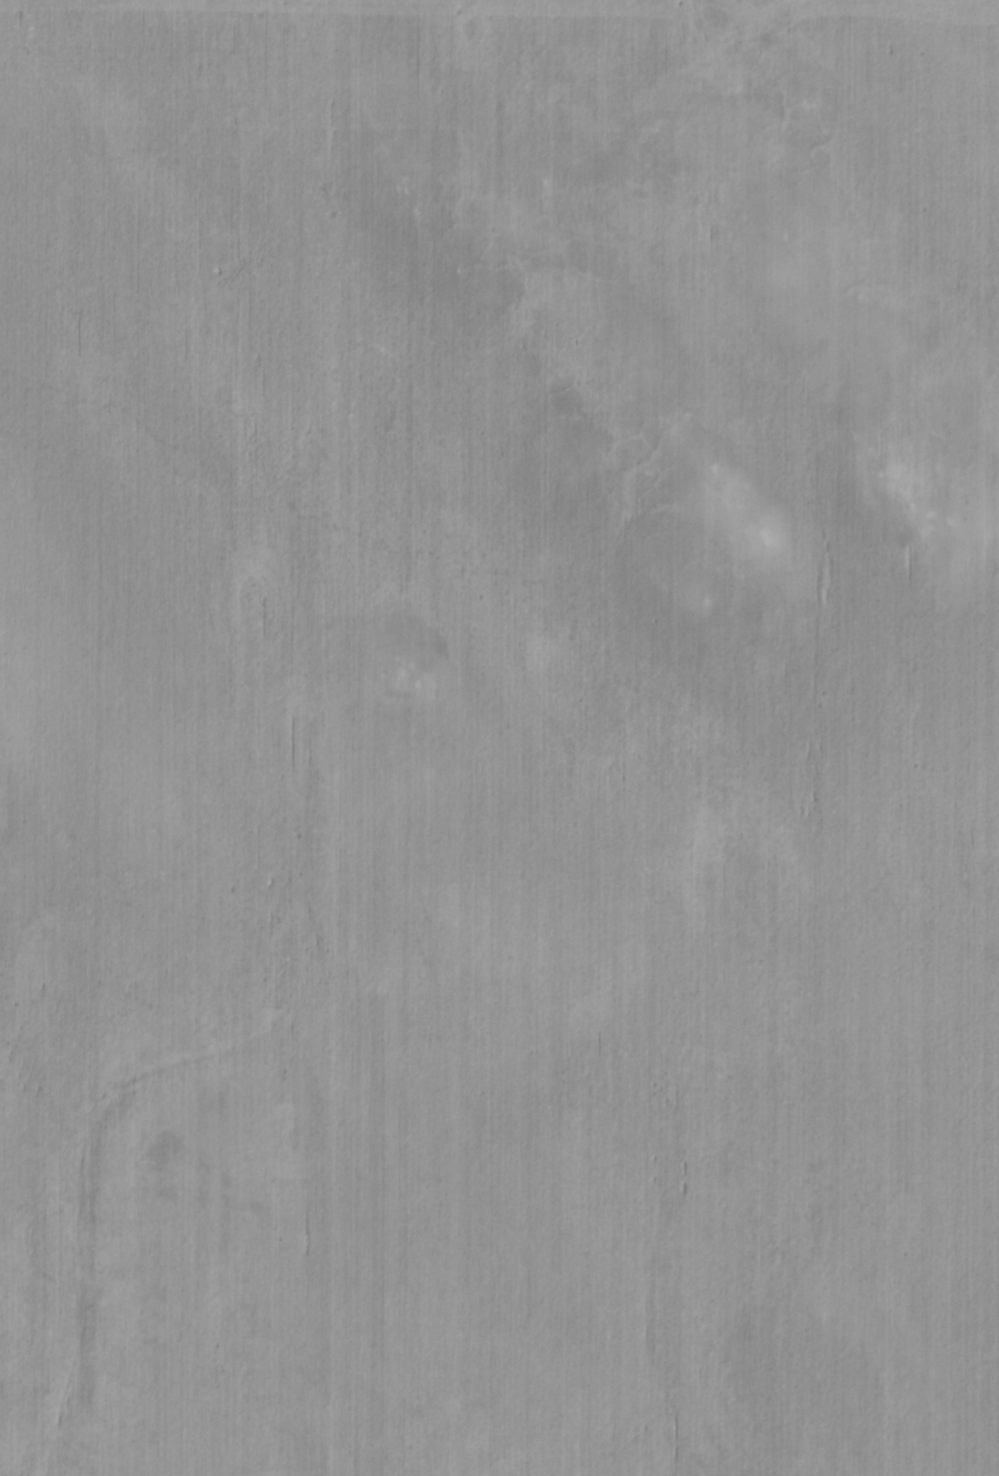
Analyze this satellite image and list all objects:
crop: (499, 738)

